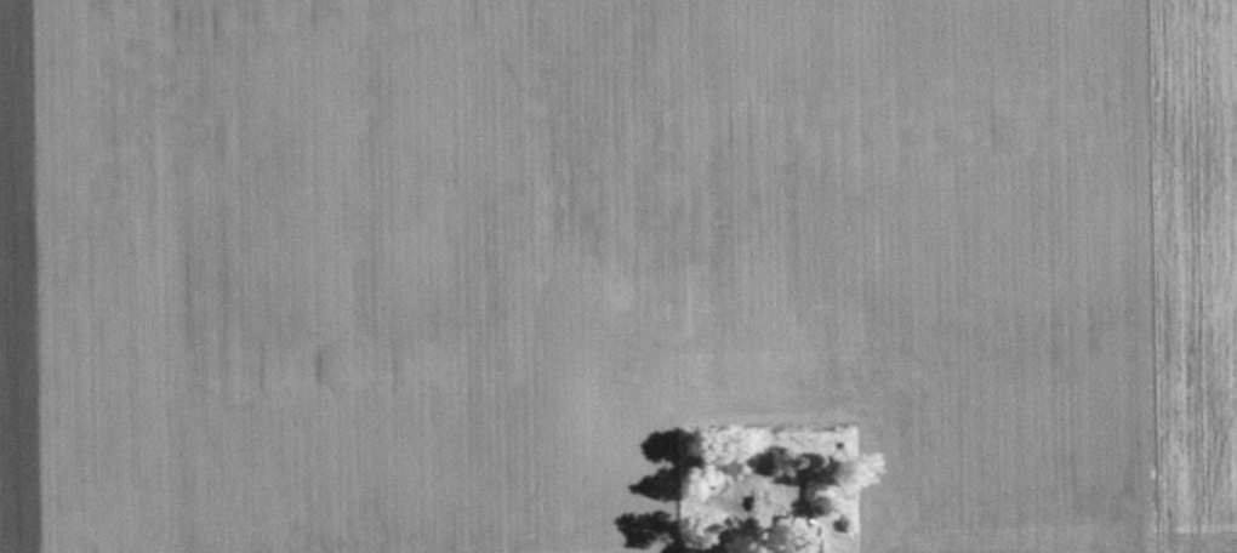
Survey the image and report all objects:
building: (711, 462)
building: (797, 538)

